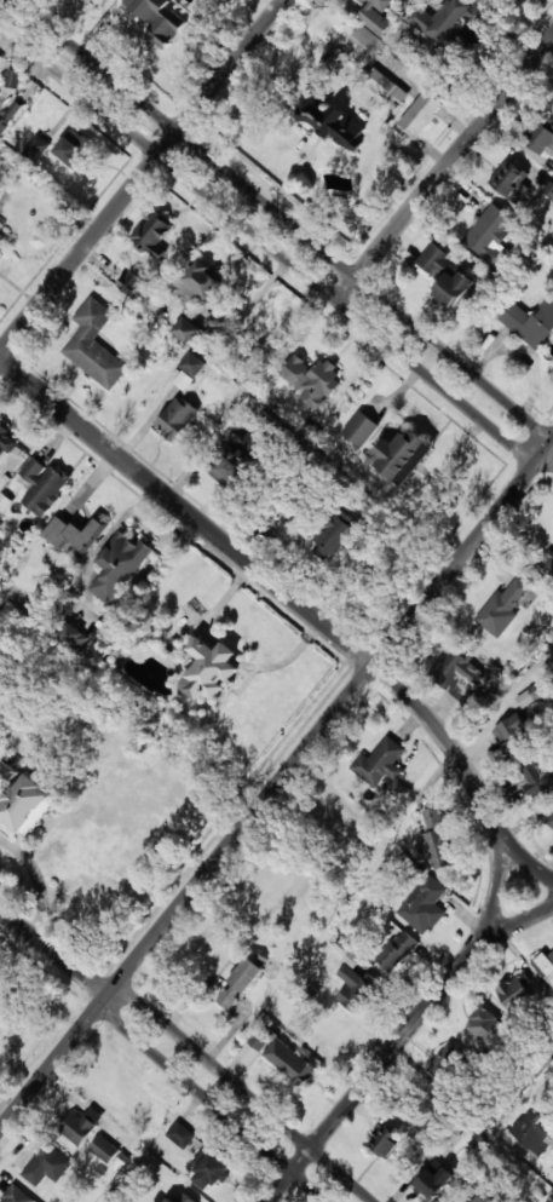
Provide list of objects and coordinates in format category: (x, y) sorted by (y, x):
building: (79, 0)
building: (376, 15)
building: (474, 15)
building: (421, 18)
building: (450, 18)
building: (157, 19)
building: (367, 39)
building: (385, 85)
building: (10, 113)
building: (420, 114)
building: (335, 123)
building: (543, 139)
building: (36, 148)
building: (74, 148)
road: (454, 156)
building: (508, 178)
road: (146, 180)
building: (549, 190)
road: (290, 224)
building: (152, 235)
building: (491, 235)
building: (2, 238)
road: (270, 245)
building: (0, 257)
building: (433, 259)
building: (448, 269)
building: (129, 282)
building: (456, 291)
building: (528, 321)
building: (186, 329)
building: (94, 345)
building: (191, 363)
building: (184, 380)
building: (312, 380)
building: (177, 419)
building: (359, 429)
building: (253, 439)
building: (5, 441)
building: (402, 455)
building: (227, 470)
building: (44, 485)
road: (186, 510)
building: (74, 533)
building: (339, 535)
building: (549, 563)
building: (119, 567)
building: (502, 608)
building: (74, 635)
building: (217, 662)
building: (454, 672)
building: (530, 695)
building: (511, 731)
building: (380, 763)
road: (463, 771)
building: (537, 780)
road: (276, 786)
building: (28, 805)
building: (549, 822)
building: (437, 839)
building: (424, 905)
road: (507, 930)
building: (397, 950)
road: (54, 953)
building: (352, 959)
building: (545, 966)
building: (240, 982)
building: (353, 989)
building: (515, 993)
road: (413, 1025)
building: (486, 1026)
building: (253, 1047)
building: (289, 1062)
building: (447, 1062)
road: (244, 1091)
road: (205, 1102)
building: (81, 1126)
building: (534, 1131)
building: (180, 1134)
building: (385, 1141)
building: (104, 1149)
building: (45, 1163)
building: (209, 1168)
building: (433, 1181)
building: (16, 1195)
building: (179, 1198)
building: (480, 1198)

